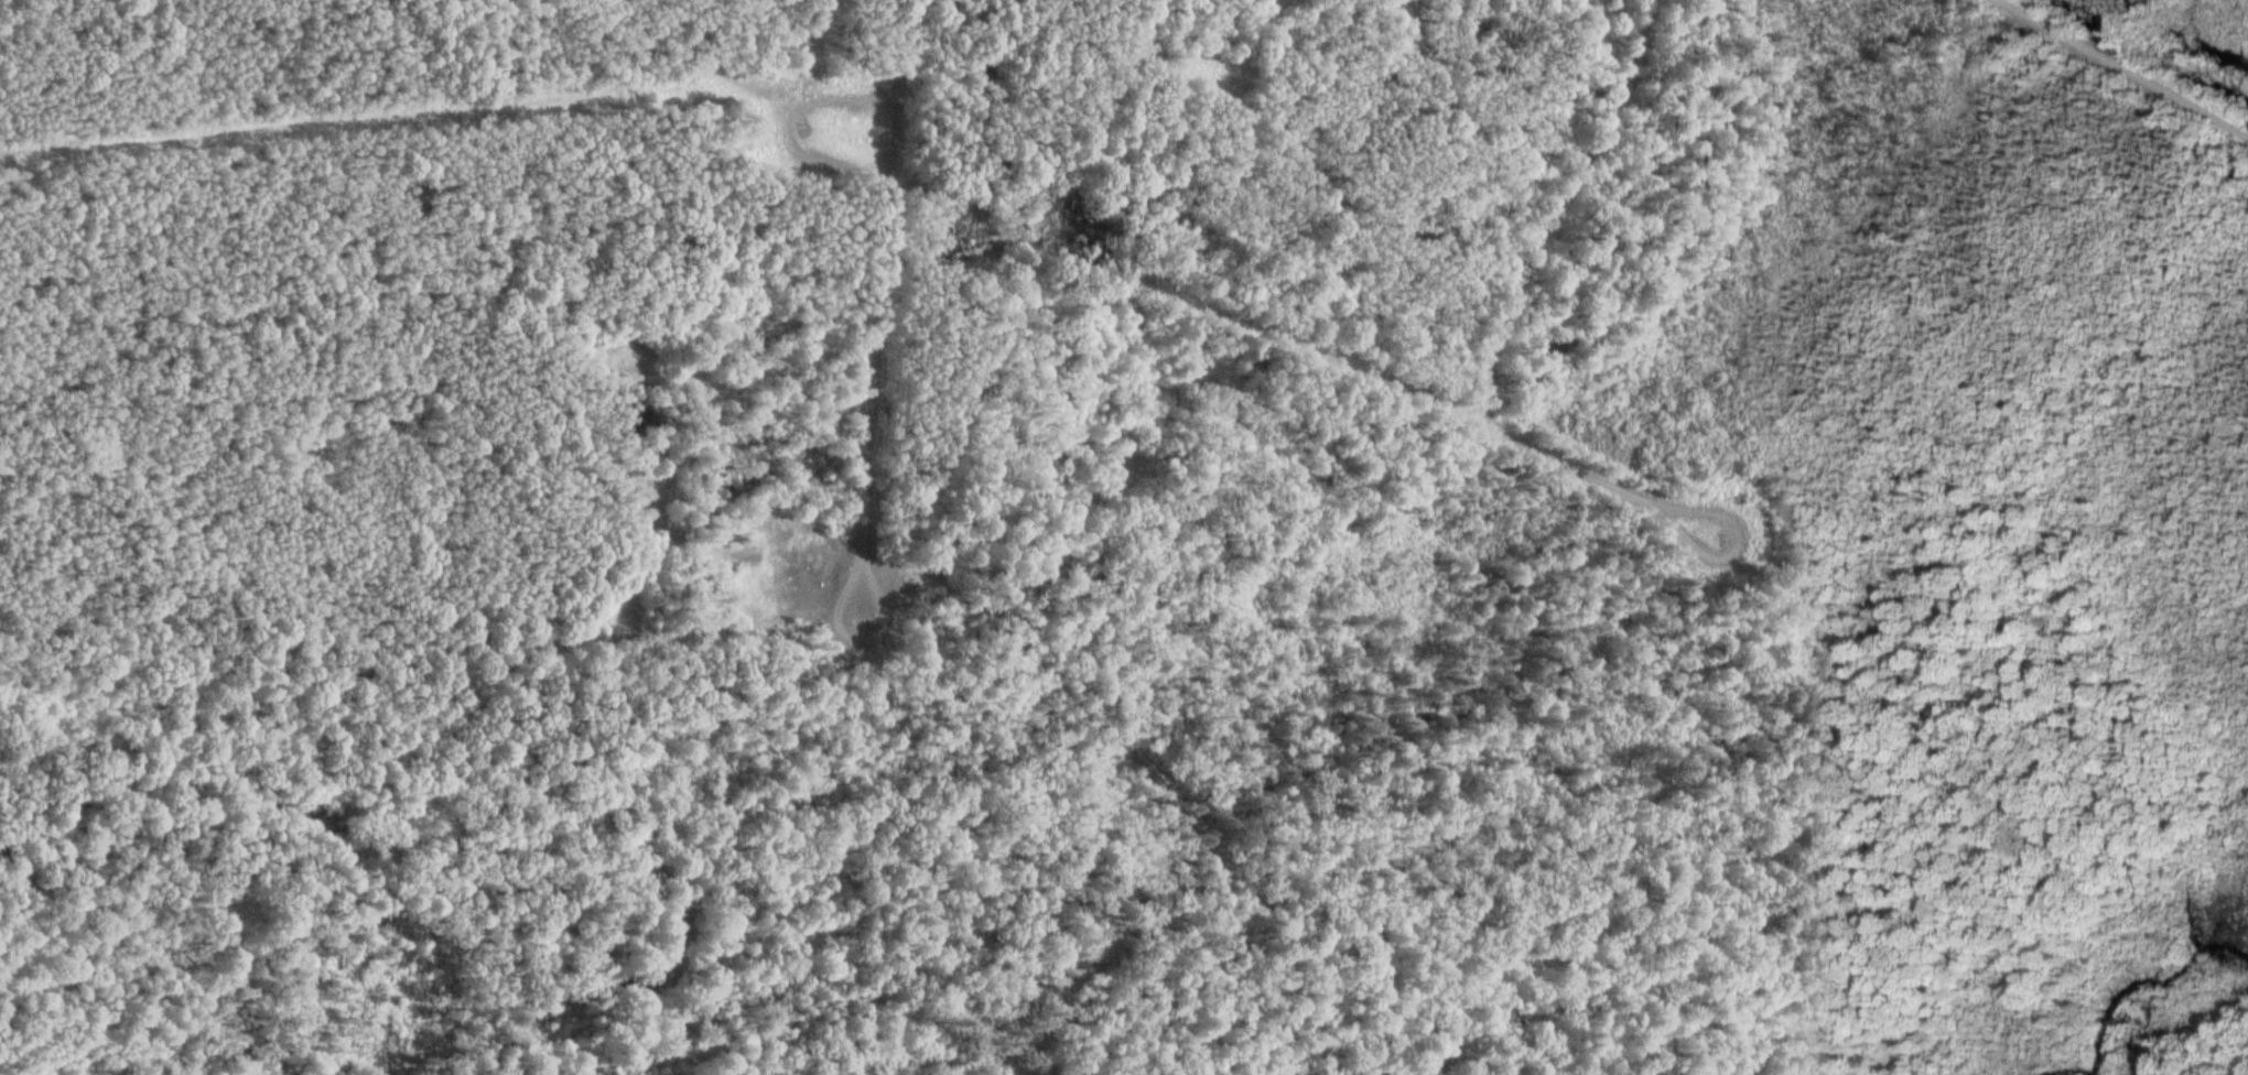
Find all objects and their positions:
road: (2125, 67)
road: (785, 127)
road: (1495, 336)
road: (1694, 547)
road: (729, 637)

